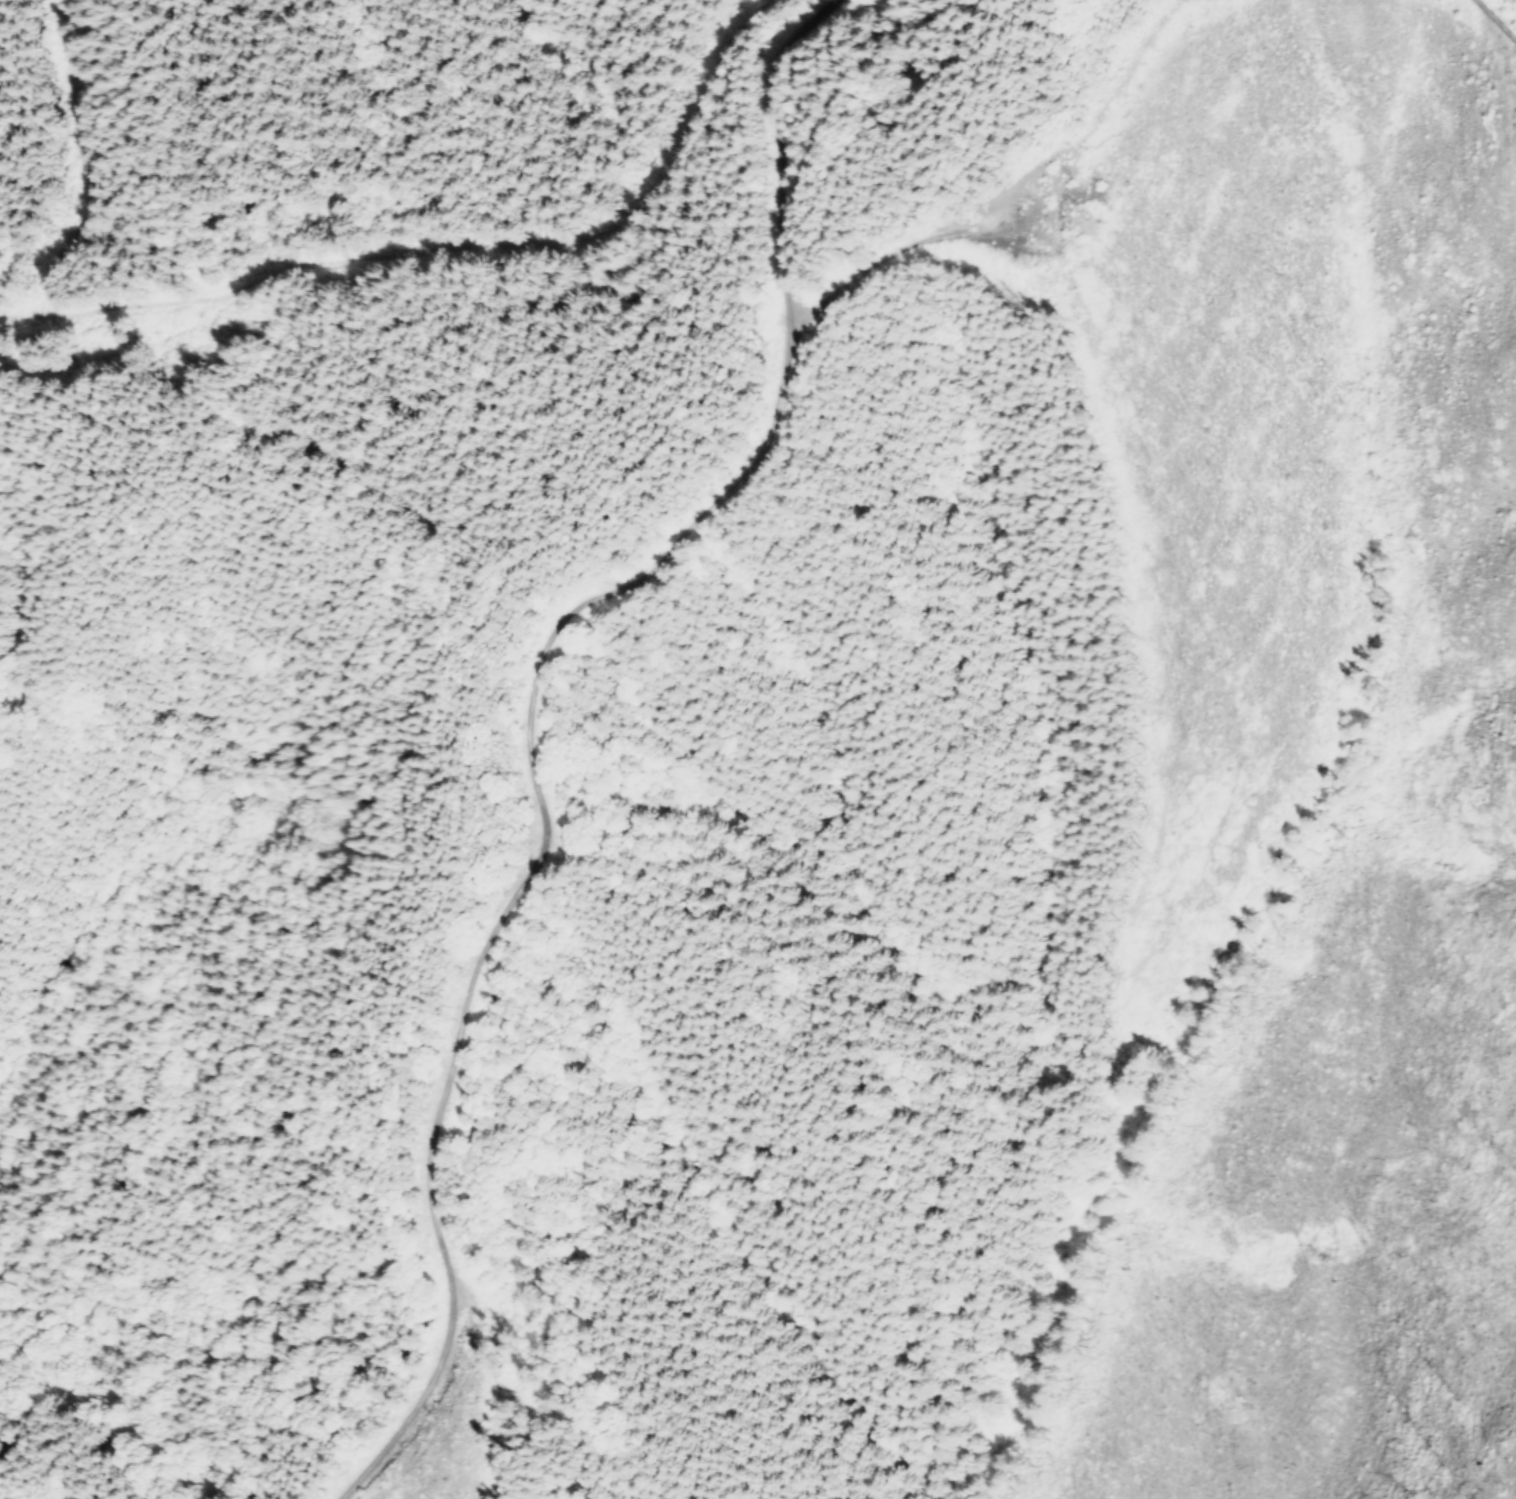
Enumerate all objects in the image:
road: (812, 150)
road: (88, 174)
road: (558, 631)

